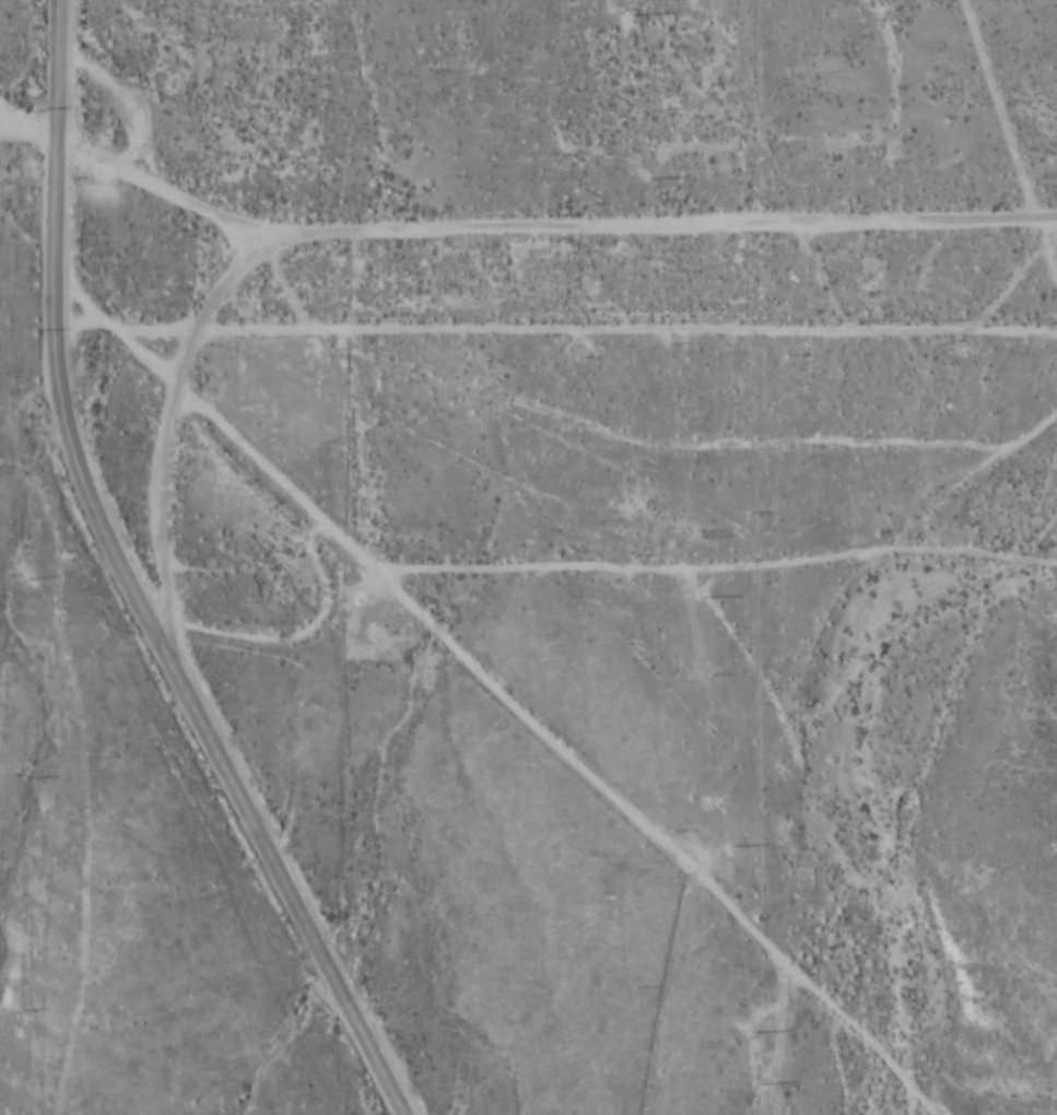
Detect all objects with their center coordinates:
road: (518, 236)
road: (204, 411)
road: (129, 583)

